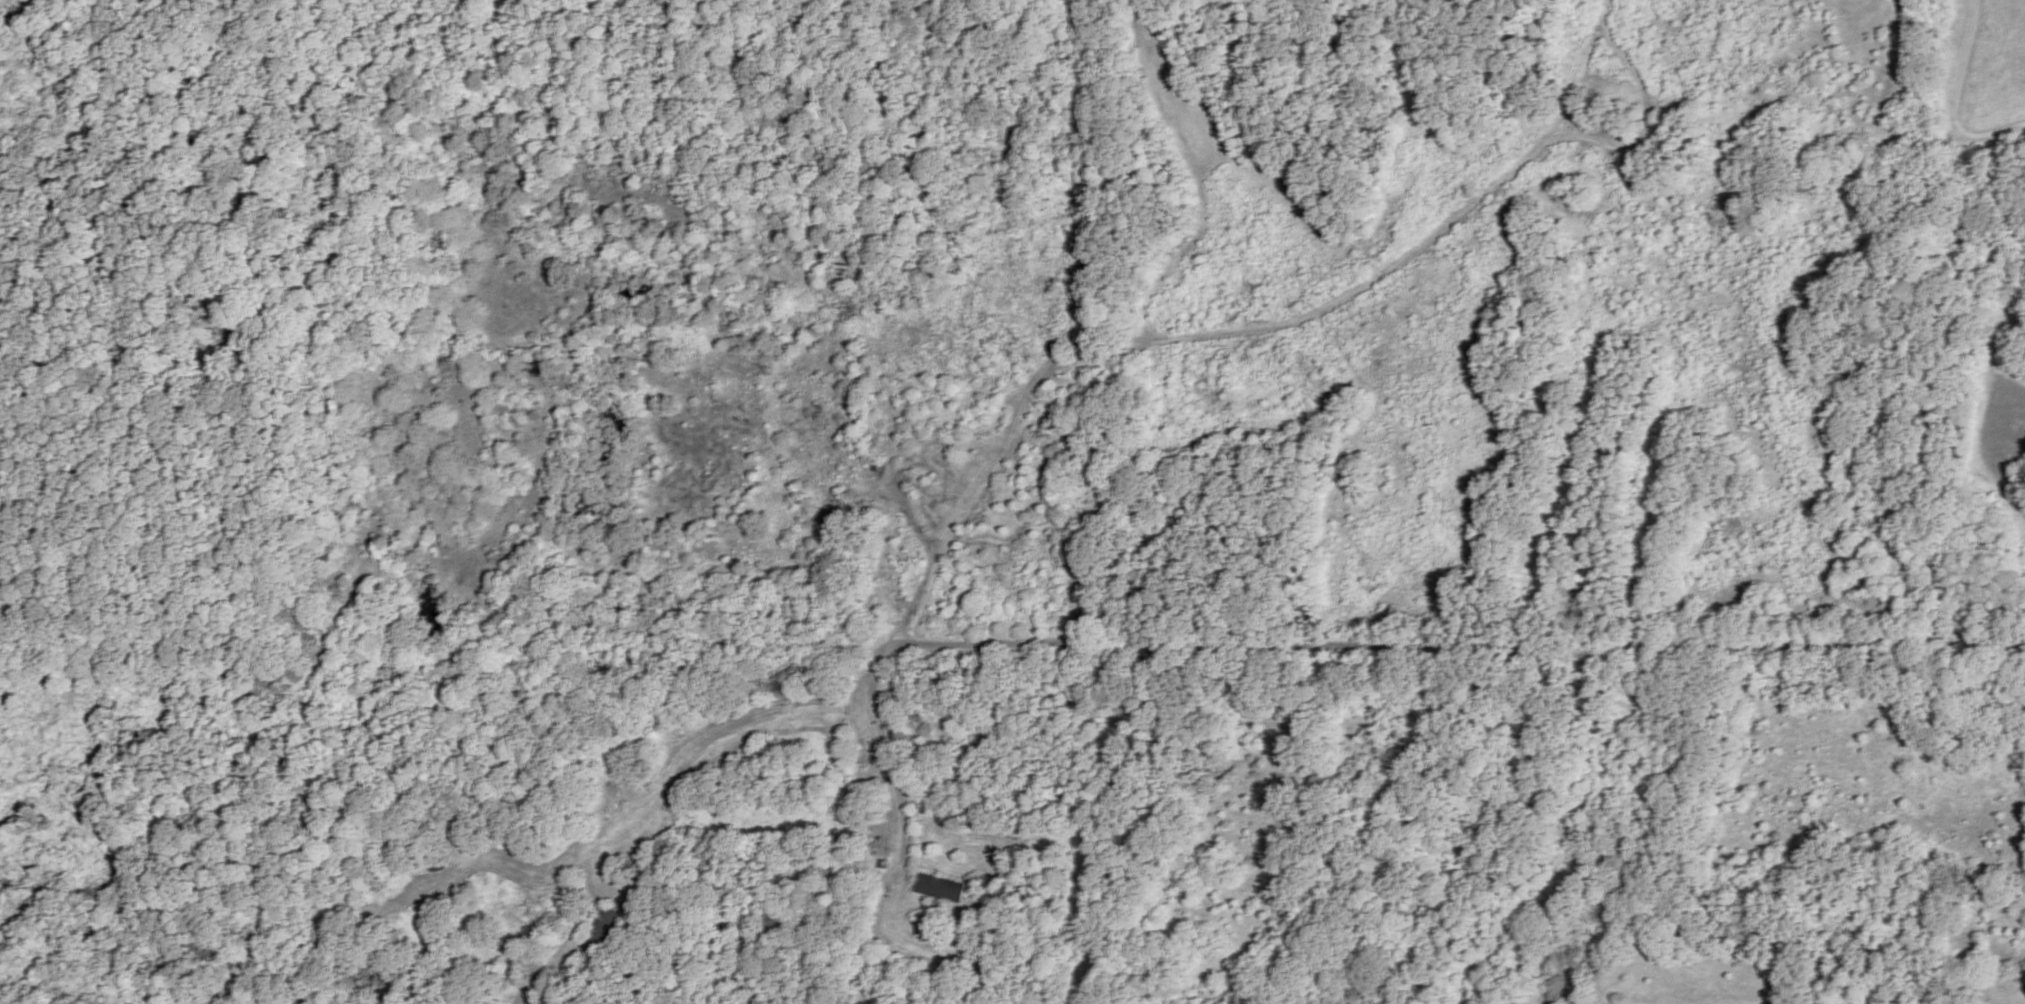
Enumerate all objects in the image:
road: (1126, 349)
road: (1460, 648)
road: (712, 754)
building: (941, 888)
road: (588, 903)
building: (604, 927)

